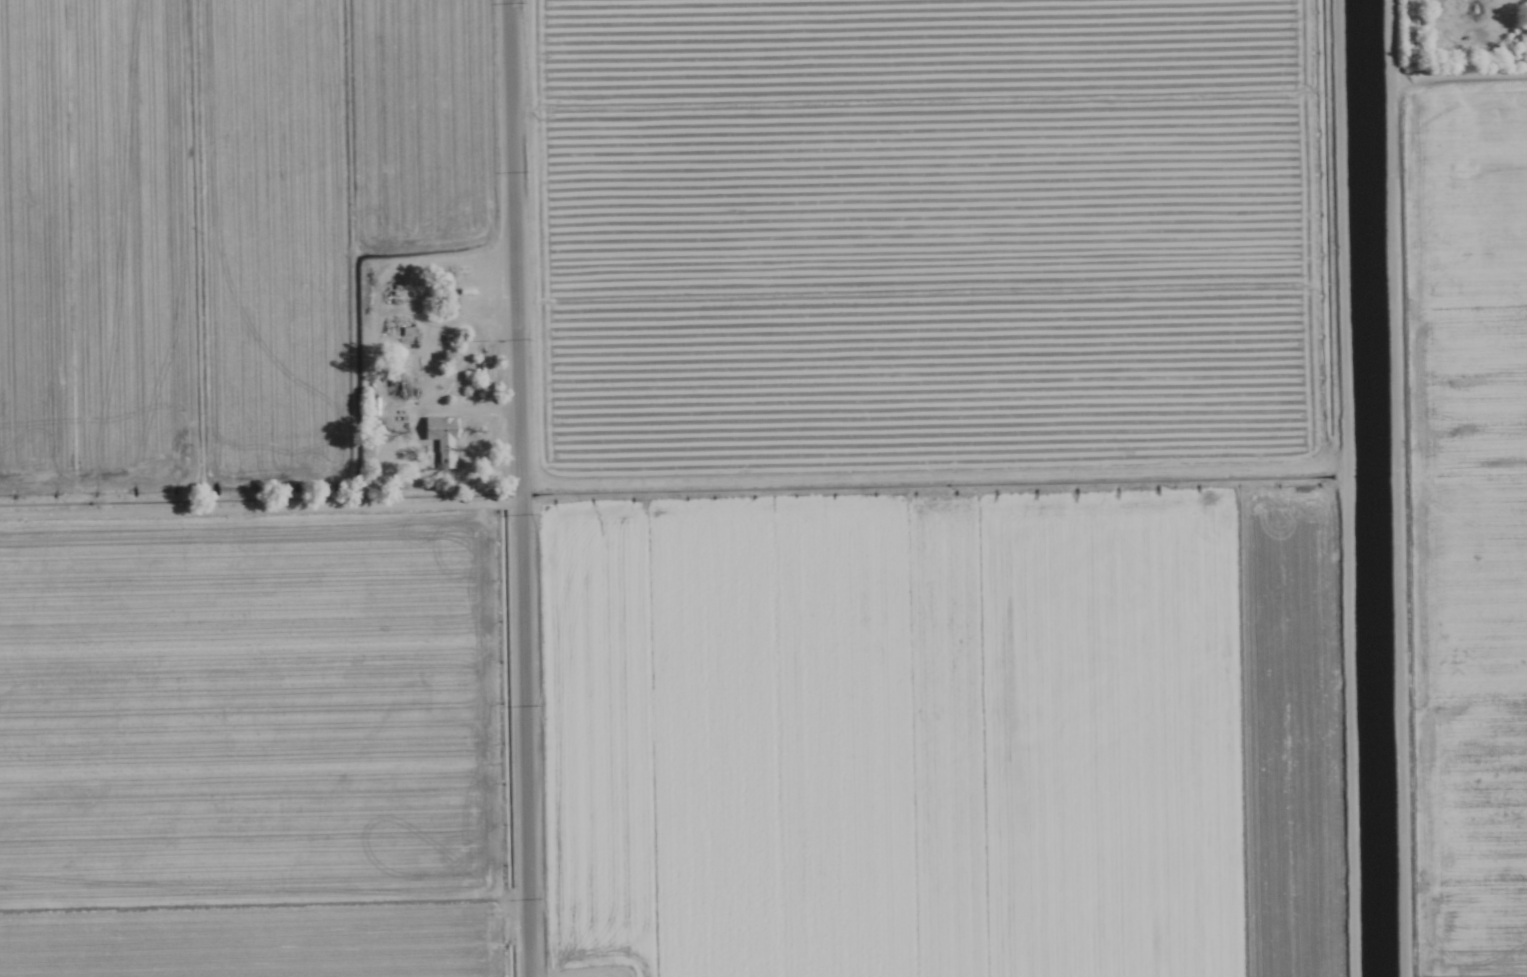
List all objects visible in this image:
road: (516, 488)

